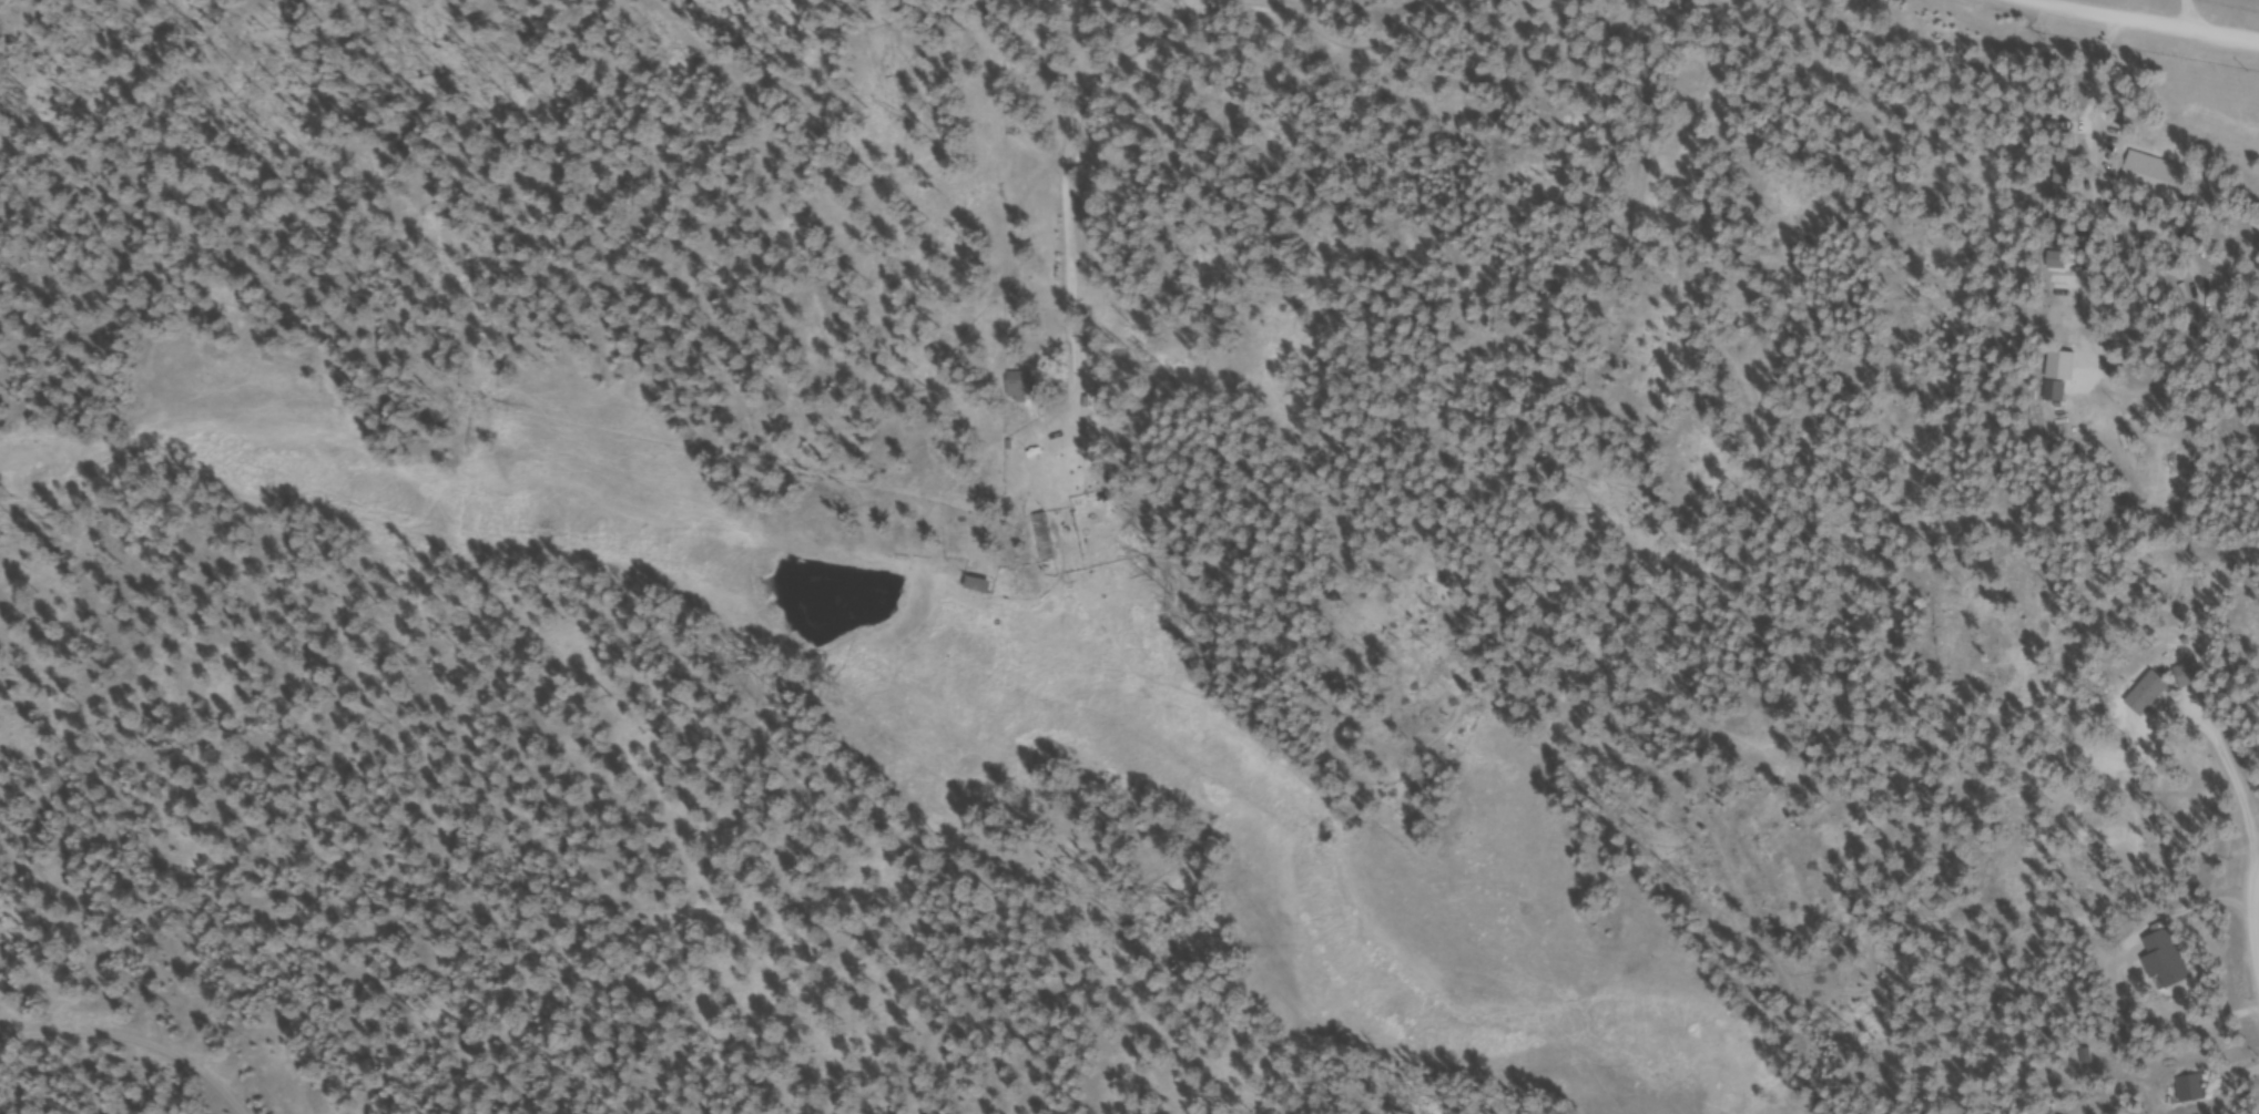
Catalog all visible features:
airport: (2231, 4)
road: (1272, 8)
road: (2190, 12)
road: (2155, 18)
building: (2160, 178)
building: (1025, 388)
building: (2057, 395)
building: (1046, 541)
building: (980, 589)
building: (2195, 679)
building: (2150, 695)
road: (2255, 914)
building: (2168, 962)
road: (131, 1039)
building: (2194, 1091)

